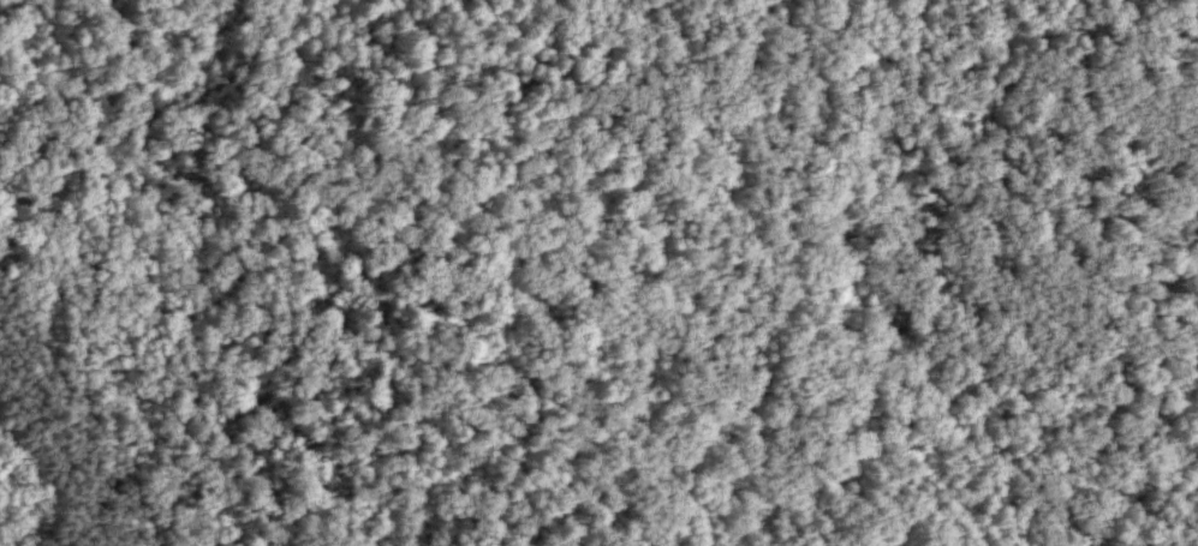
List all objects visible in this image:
road: (19, 8)

